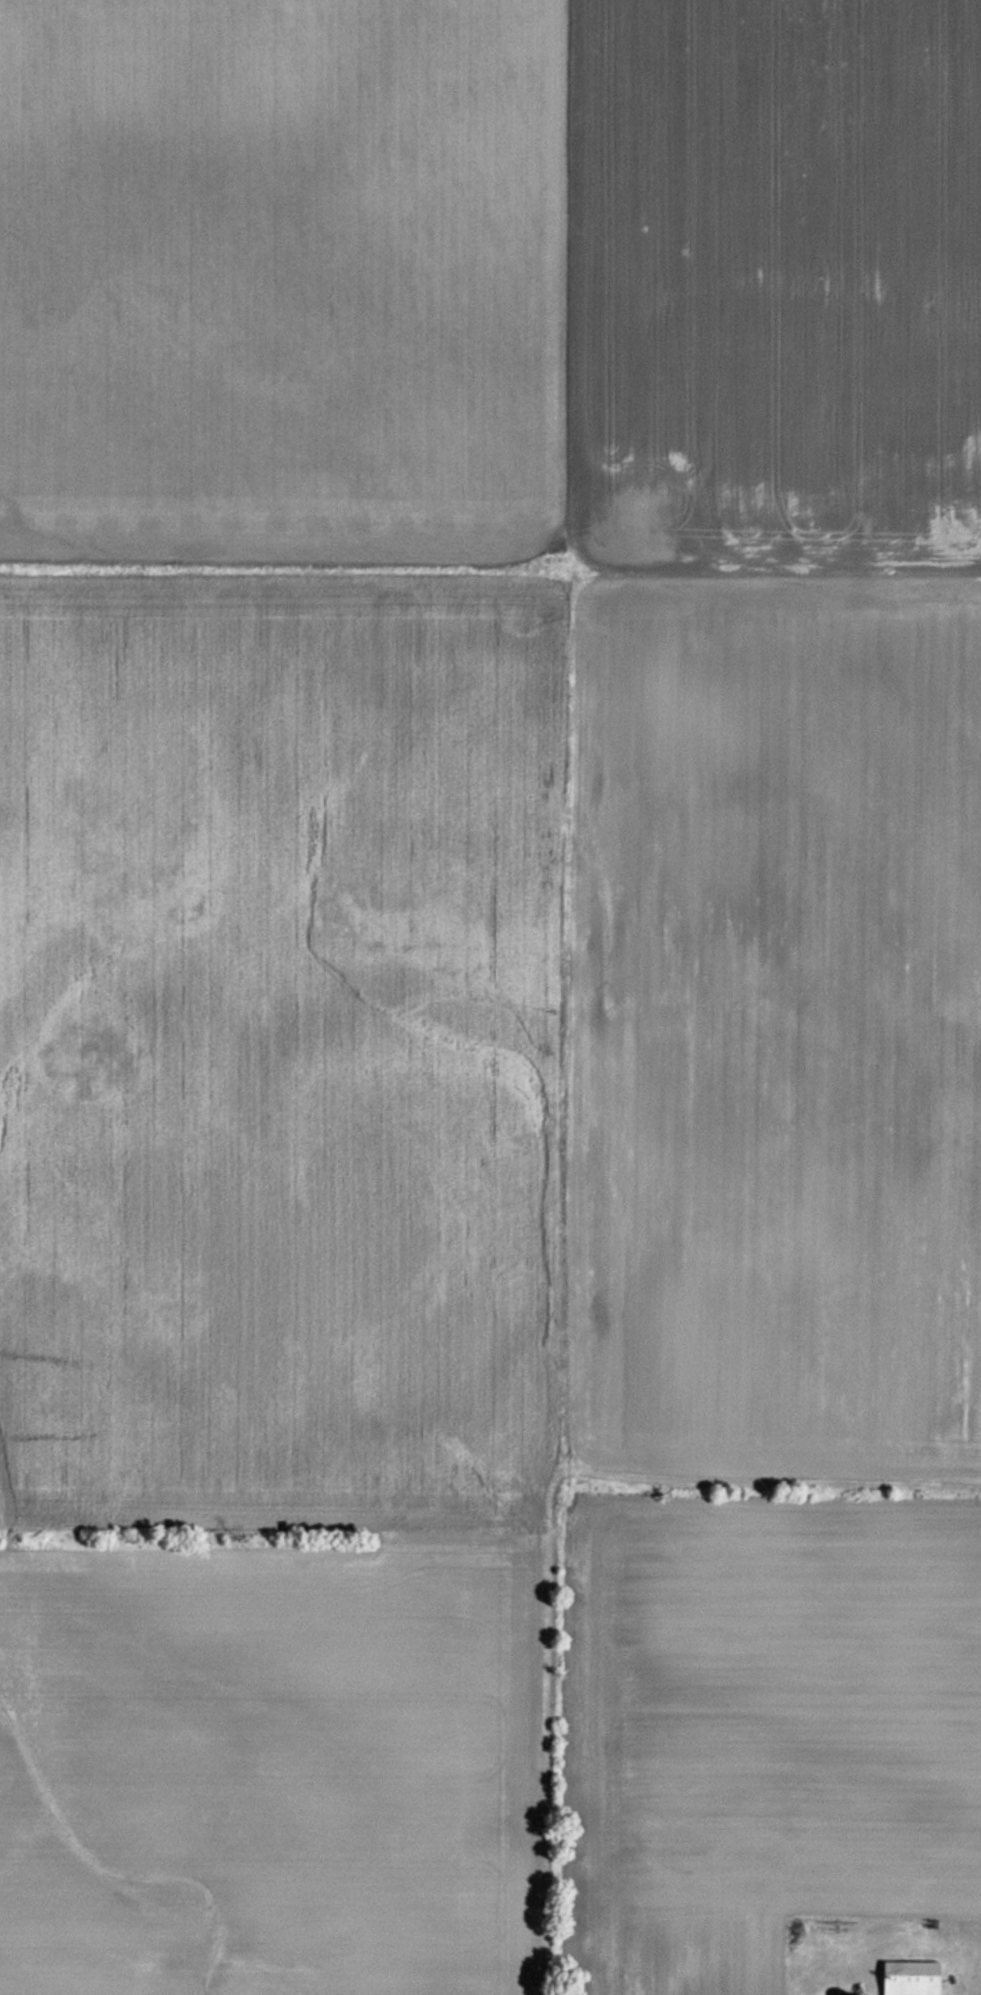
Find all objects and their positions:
building: (912, 1978)

